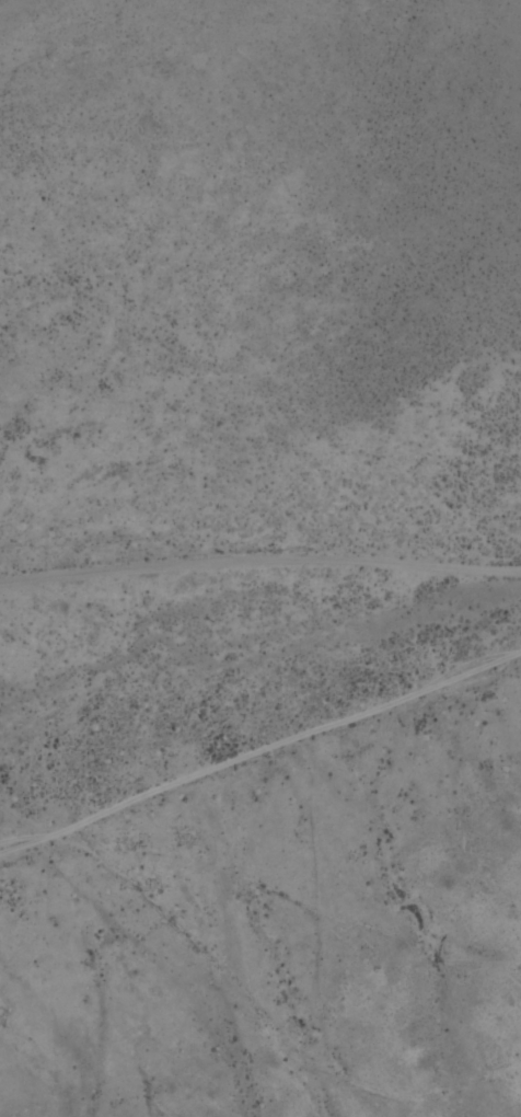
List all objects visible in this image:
road: (259, 847)

